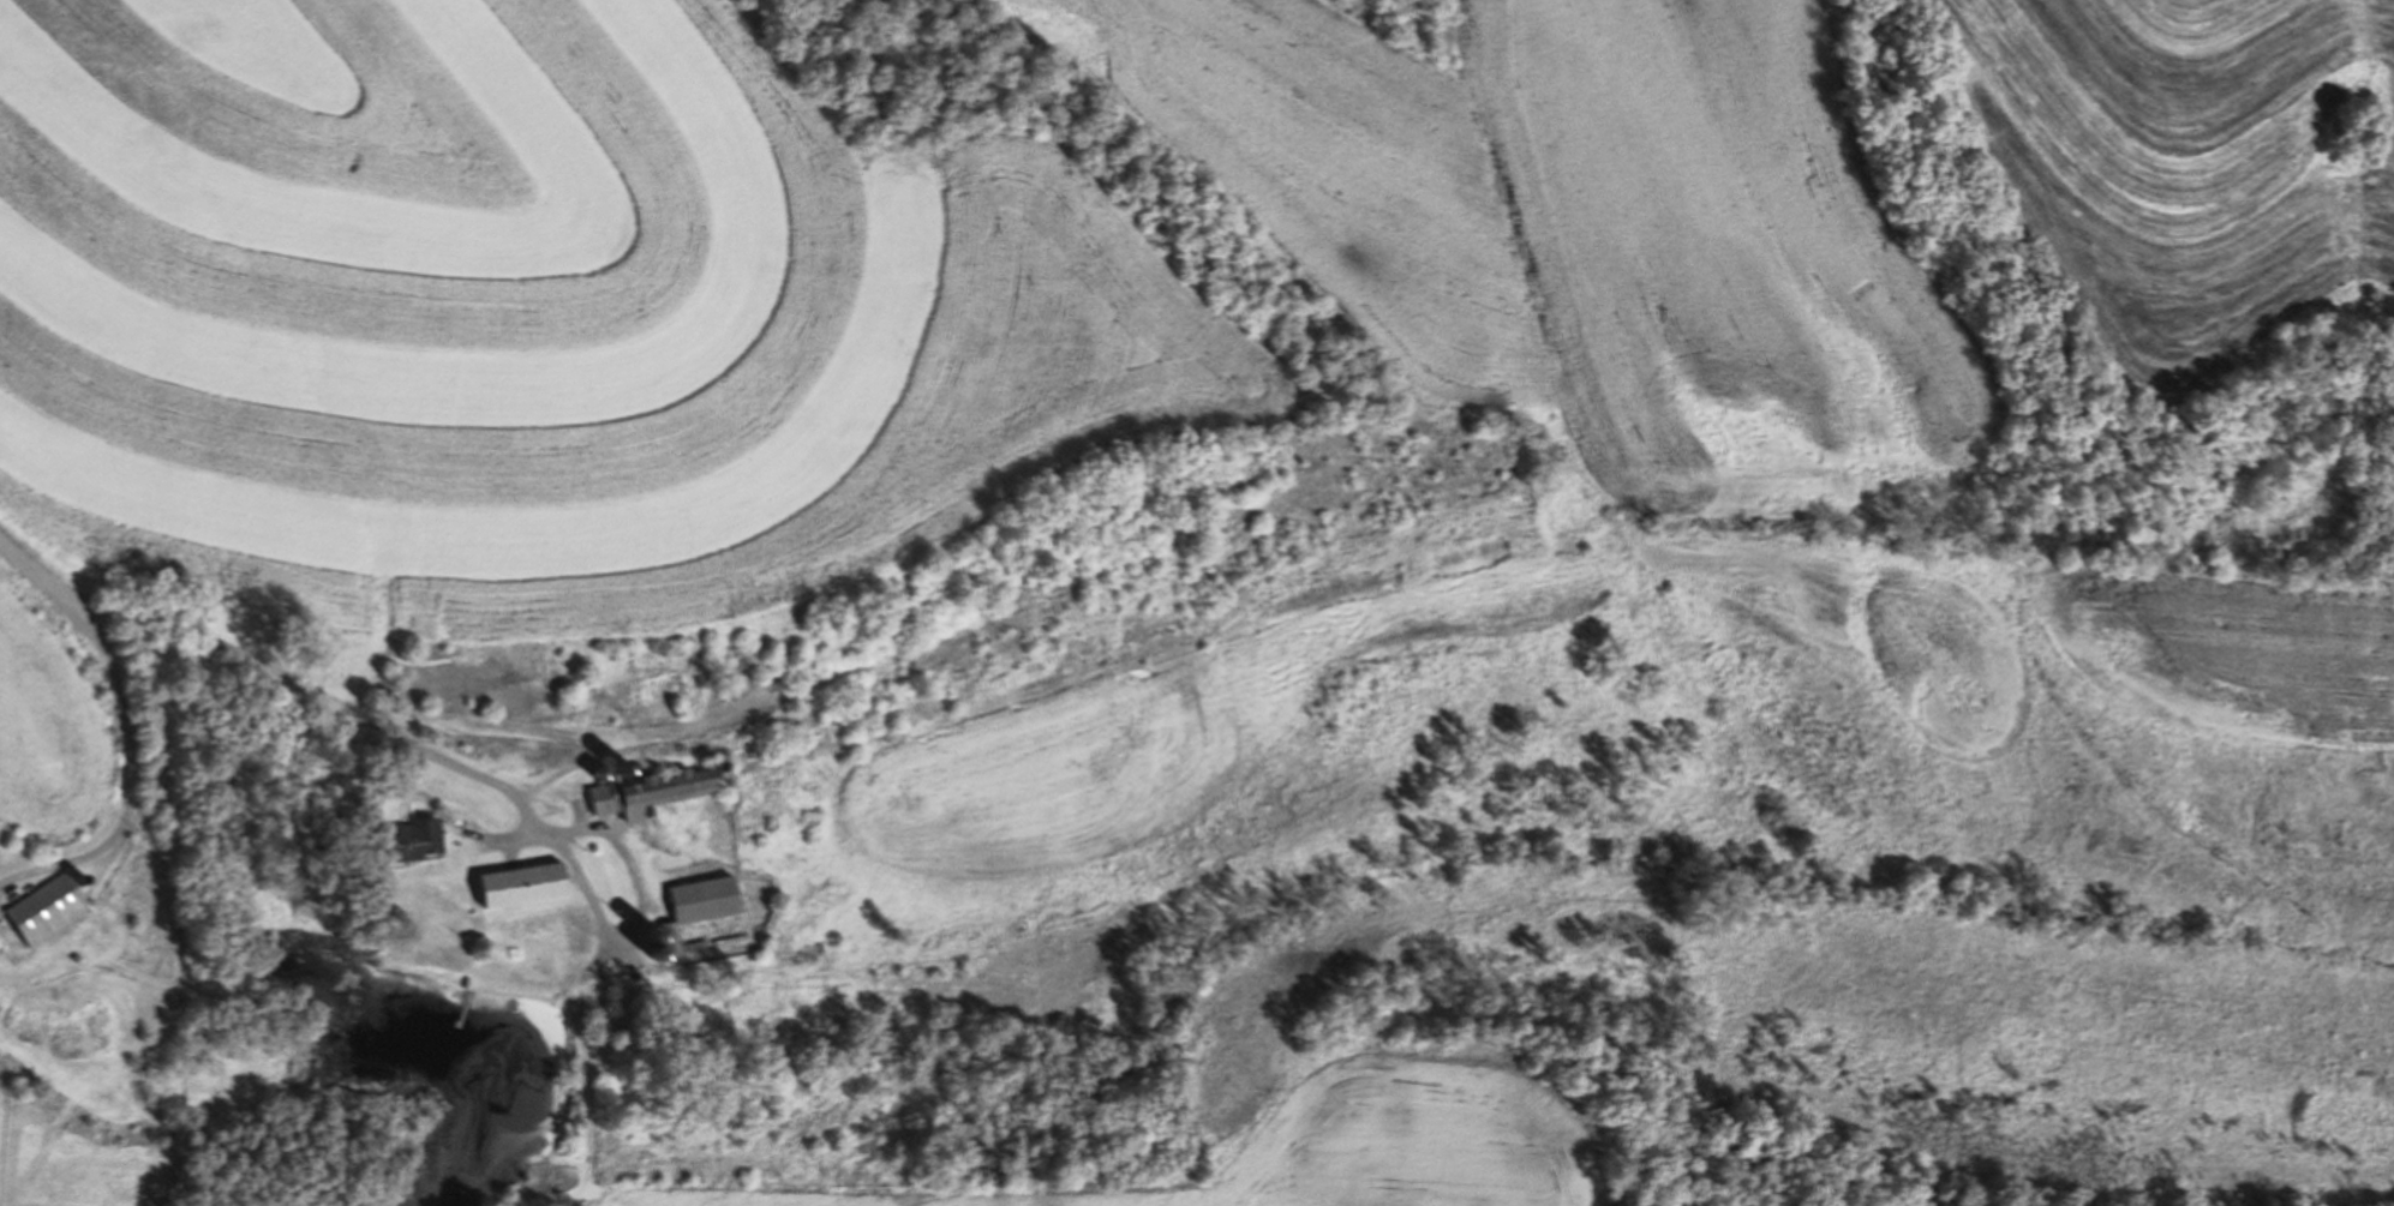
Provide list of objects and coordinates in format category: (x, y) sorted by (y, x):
road: (37, 576)
road: (297, 686)
road: (136, 770)
building: (654, 792)
building: (418, 840)
building: (527, 884)
building: (707, 900)
building: (52, 908)
building: (1, 943)

